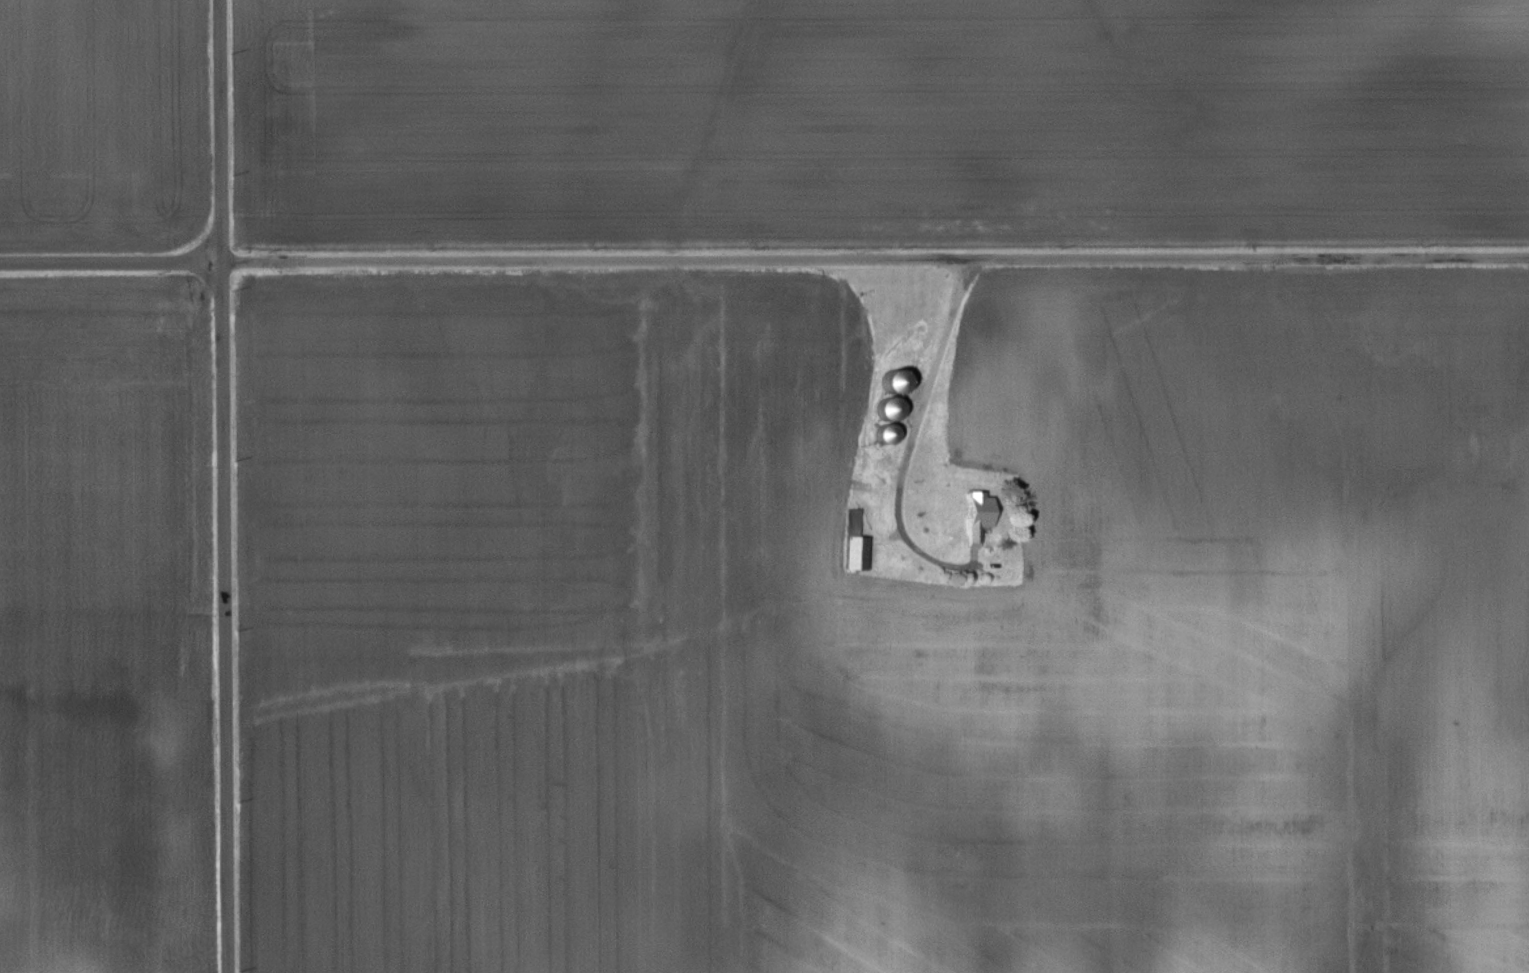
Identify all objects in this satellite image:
road: (764, 263)
road: (913, 436)
road: (221, 486)
building: (979, 513)
building: (857, 544)

